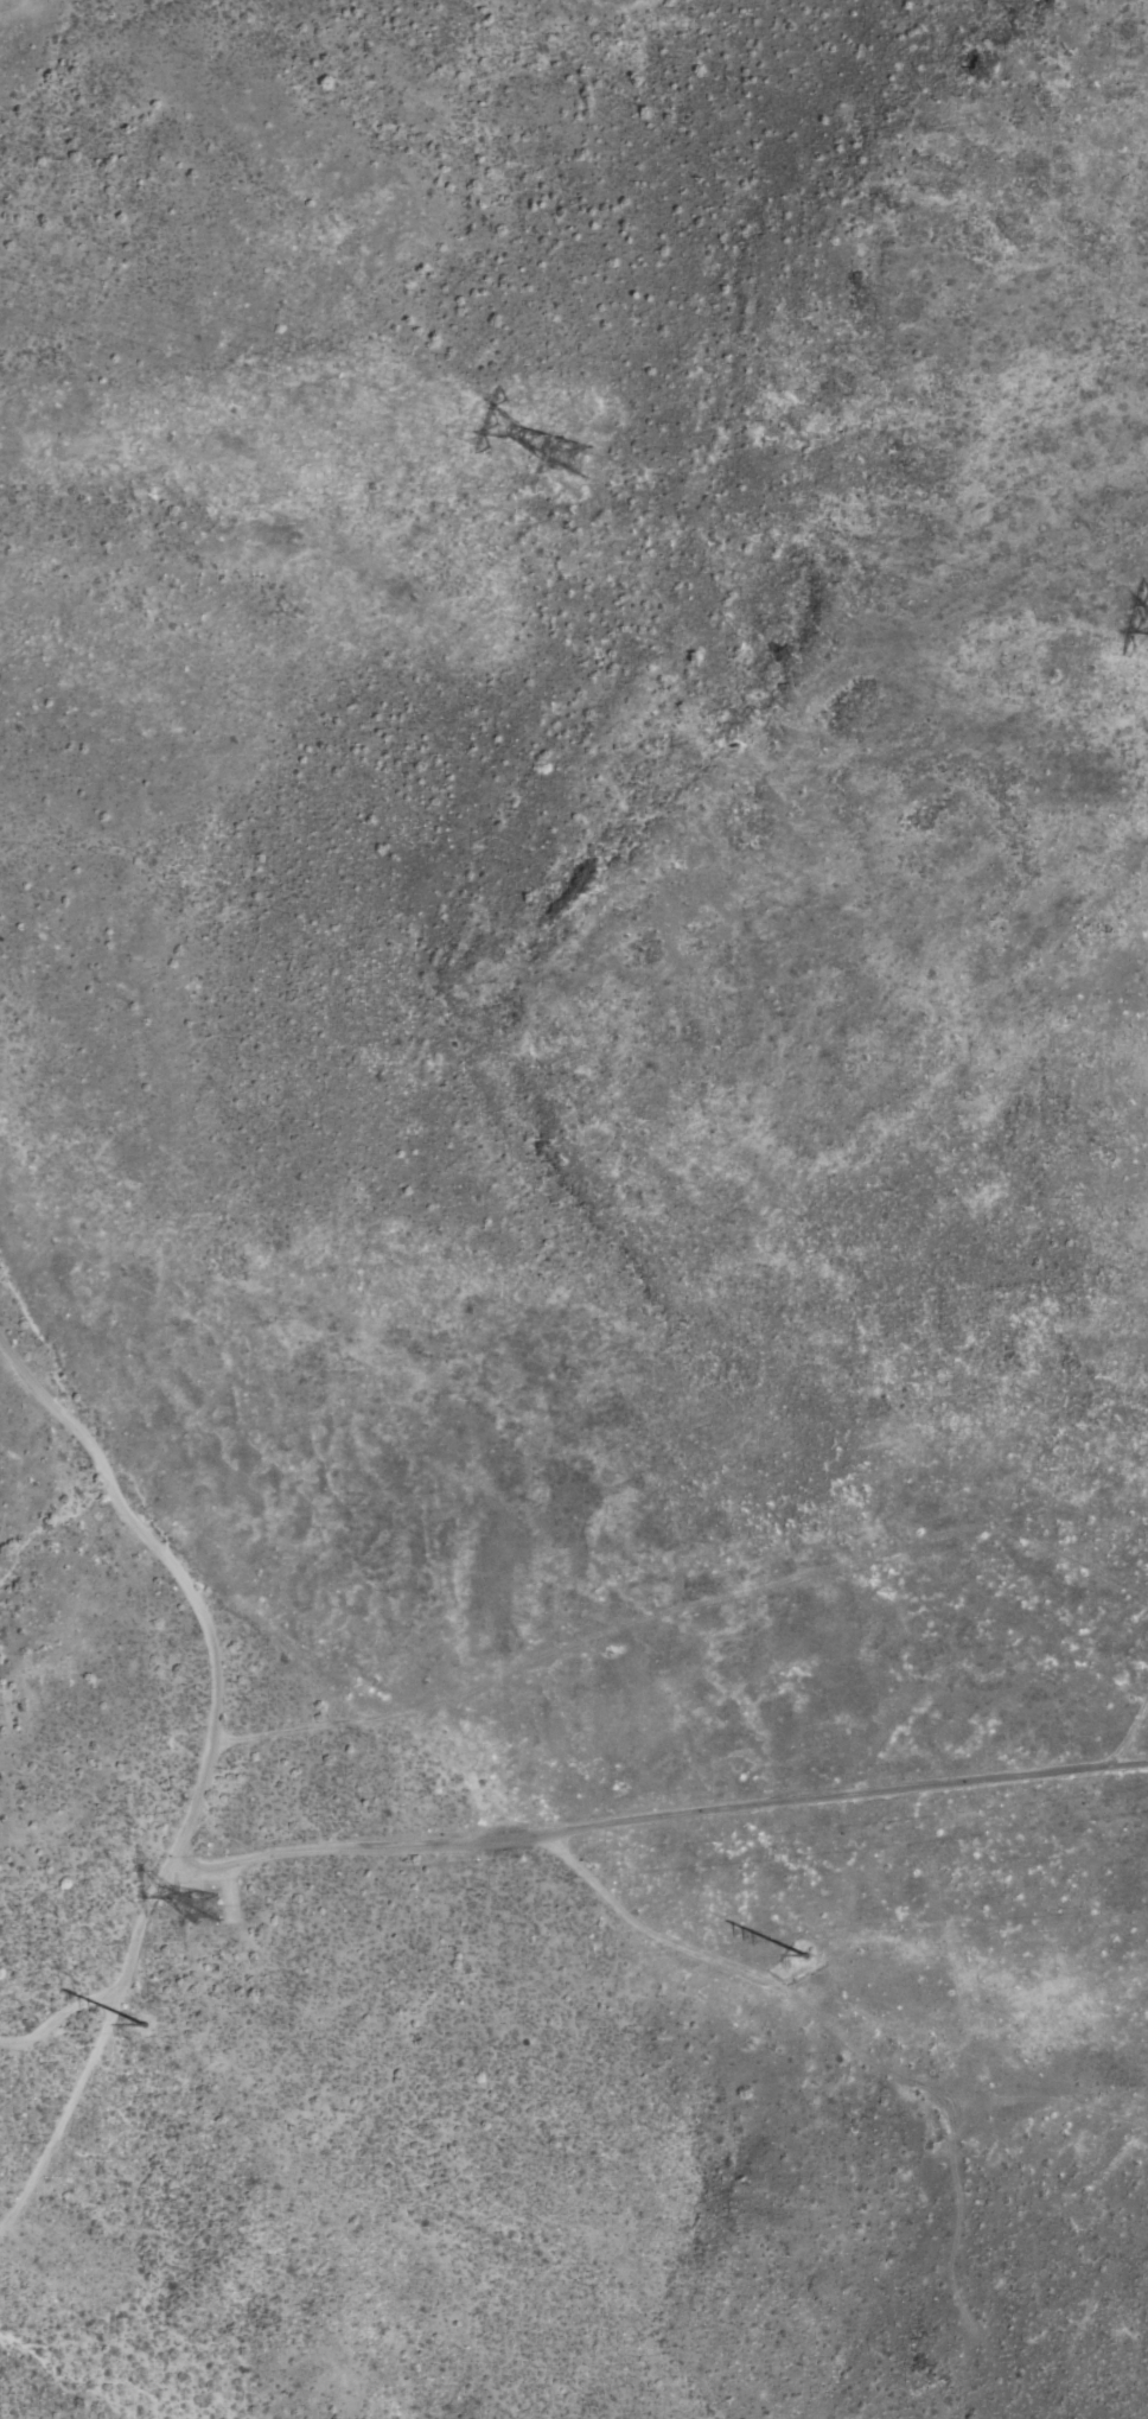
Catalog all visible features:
power tower: (575, 458)
power tower: (205, 1911)

